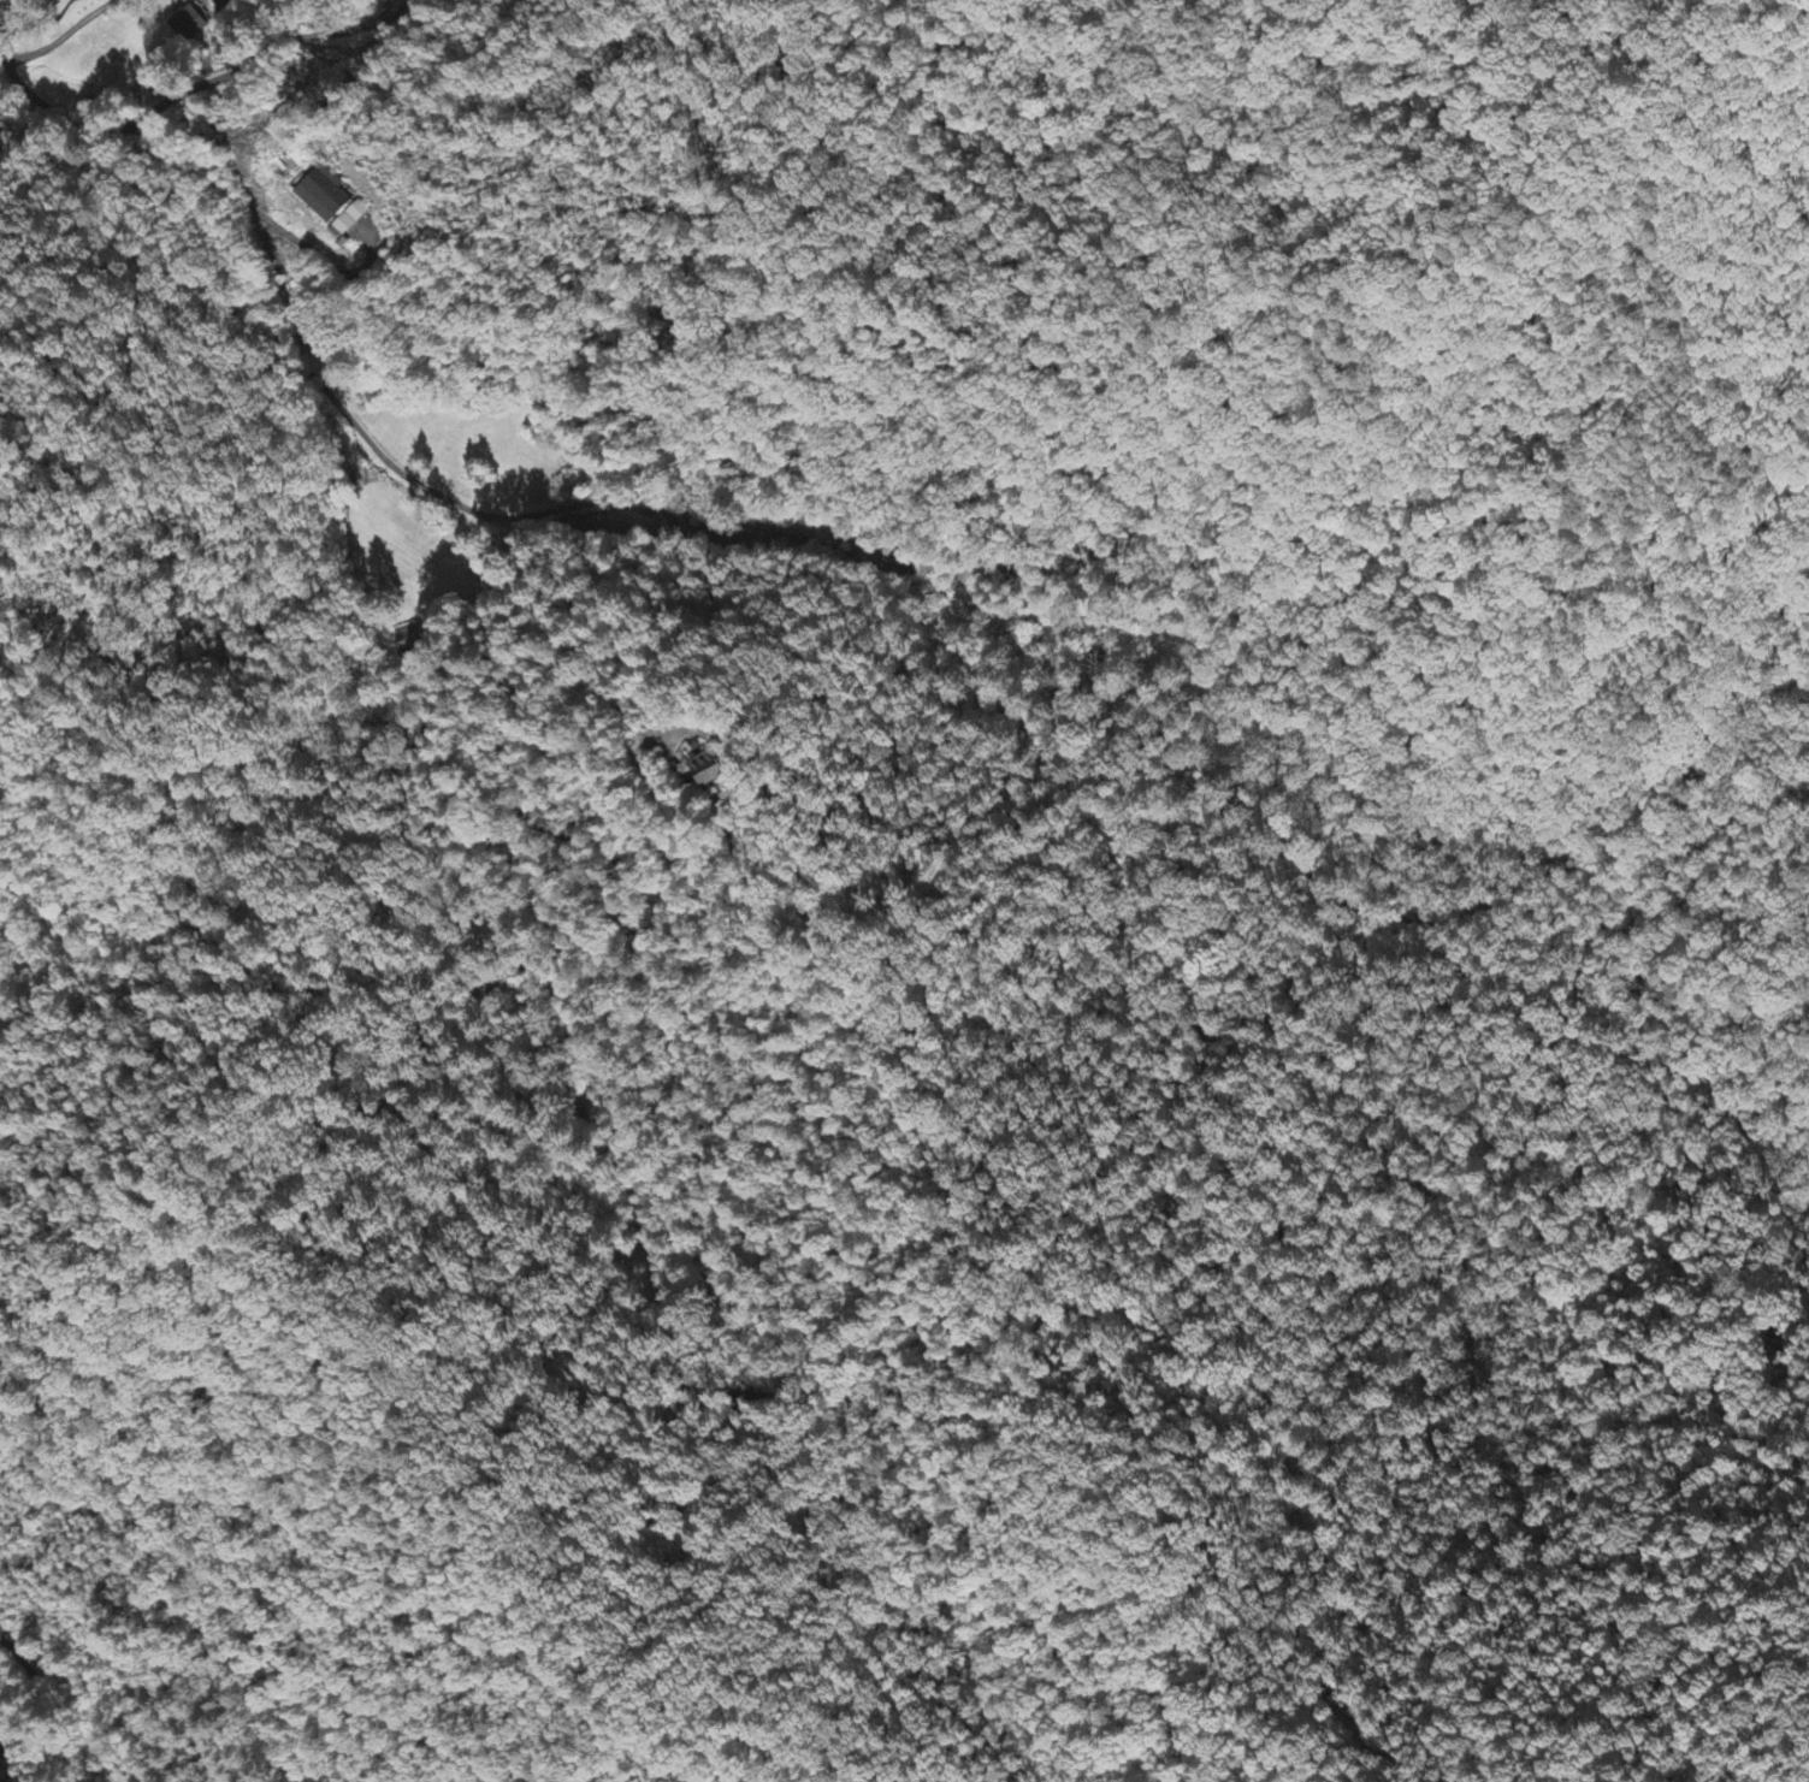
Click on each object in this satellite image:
building: (223, 6)
road: (297, 20)
building: (187, 25)
road: (229, 88)
building: (324, 196)
building: (348, 223)
road: (425, 517)
building: (406, 640)
road: (572, 679)
road: (97, 704)
road: (416, 741)
building: (708, 770)
road: (602, 967)
road: (24, 1662)

